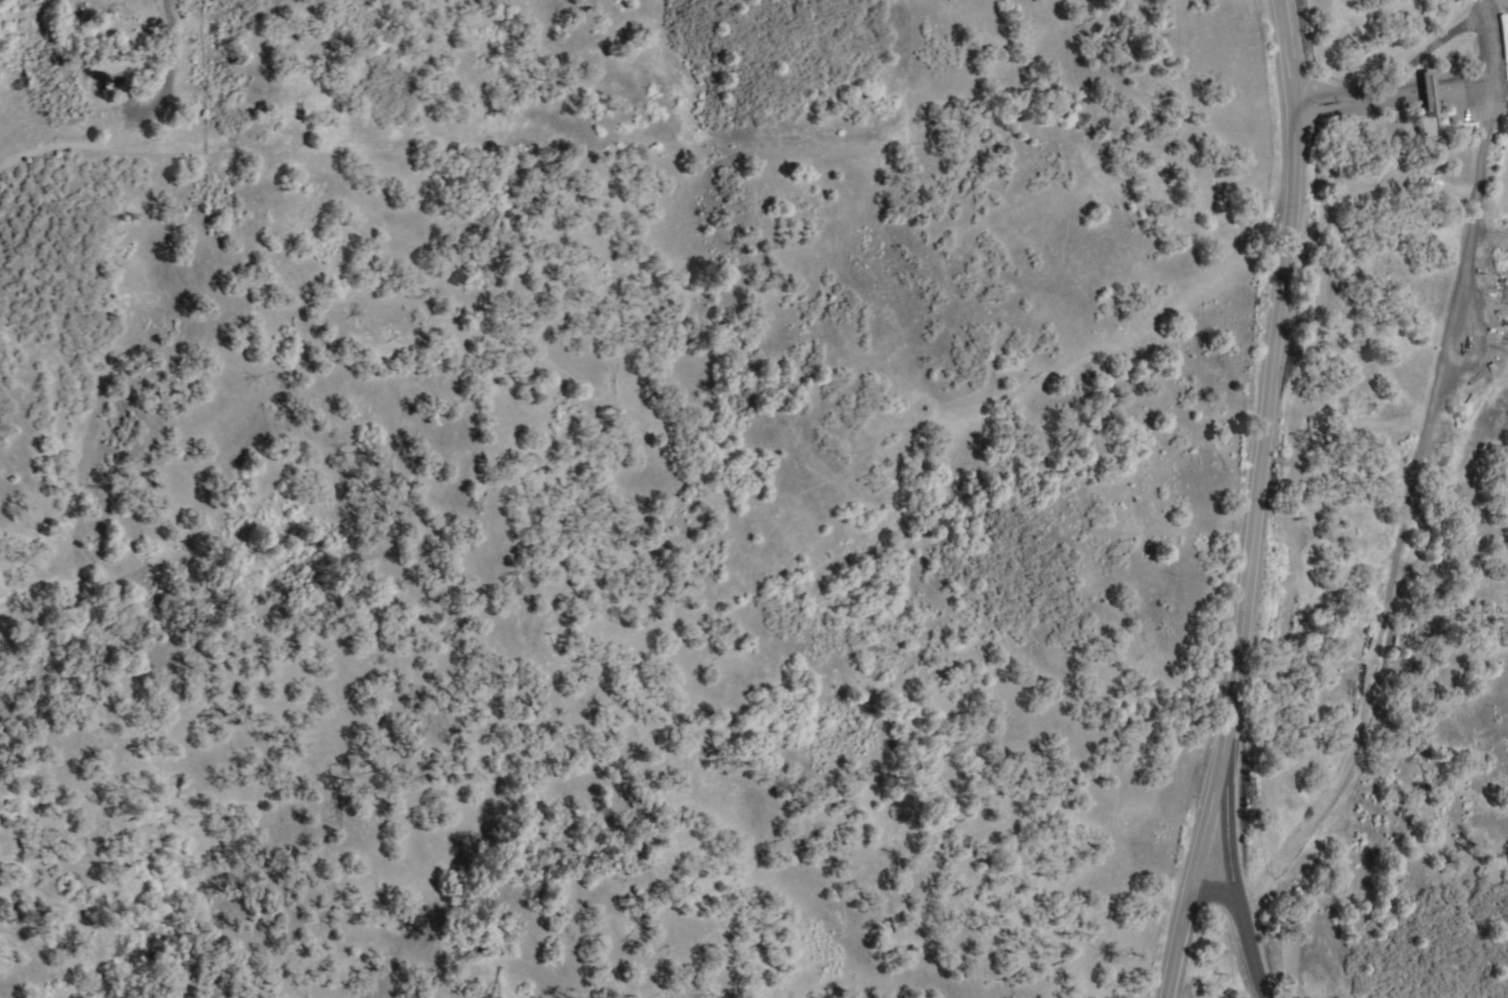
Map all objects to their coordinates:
road: (170, 66)
road: (1402, 89)
building: (1430, 105)
road: (1398, 463)
road: (1251, 501)
road: (1245, 926)

